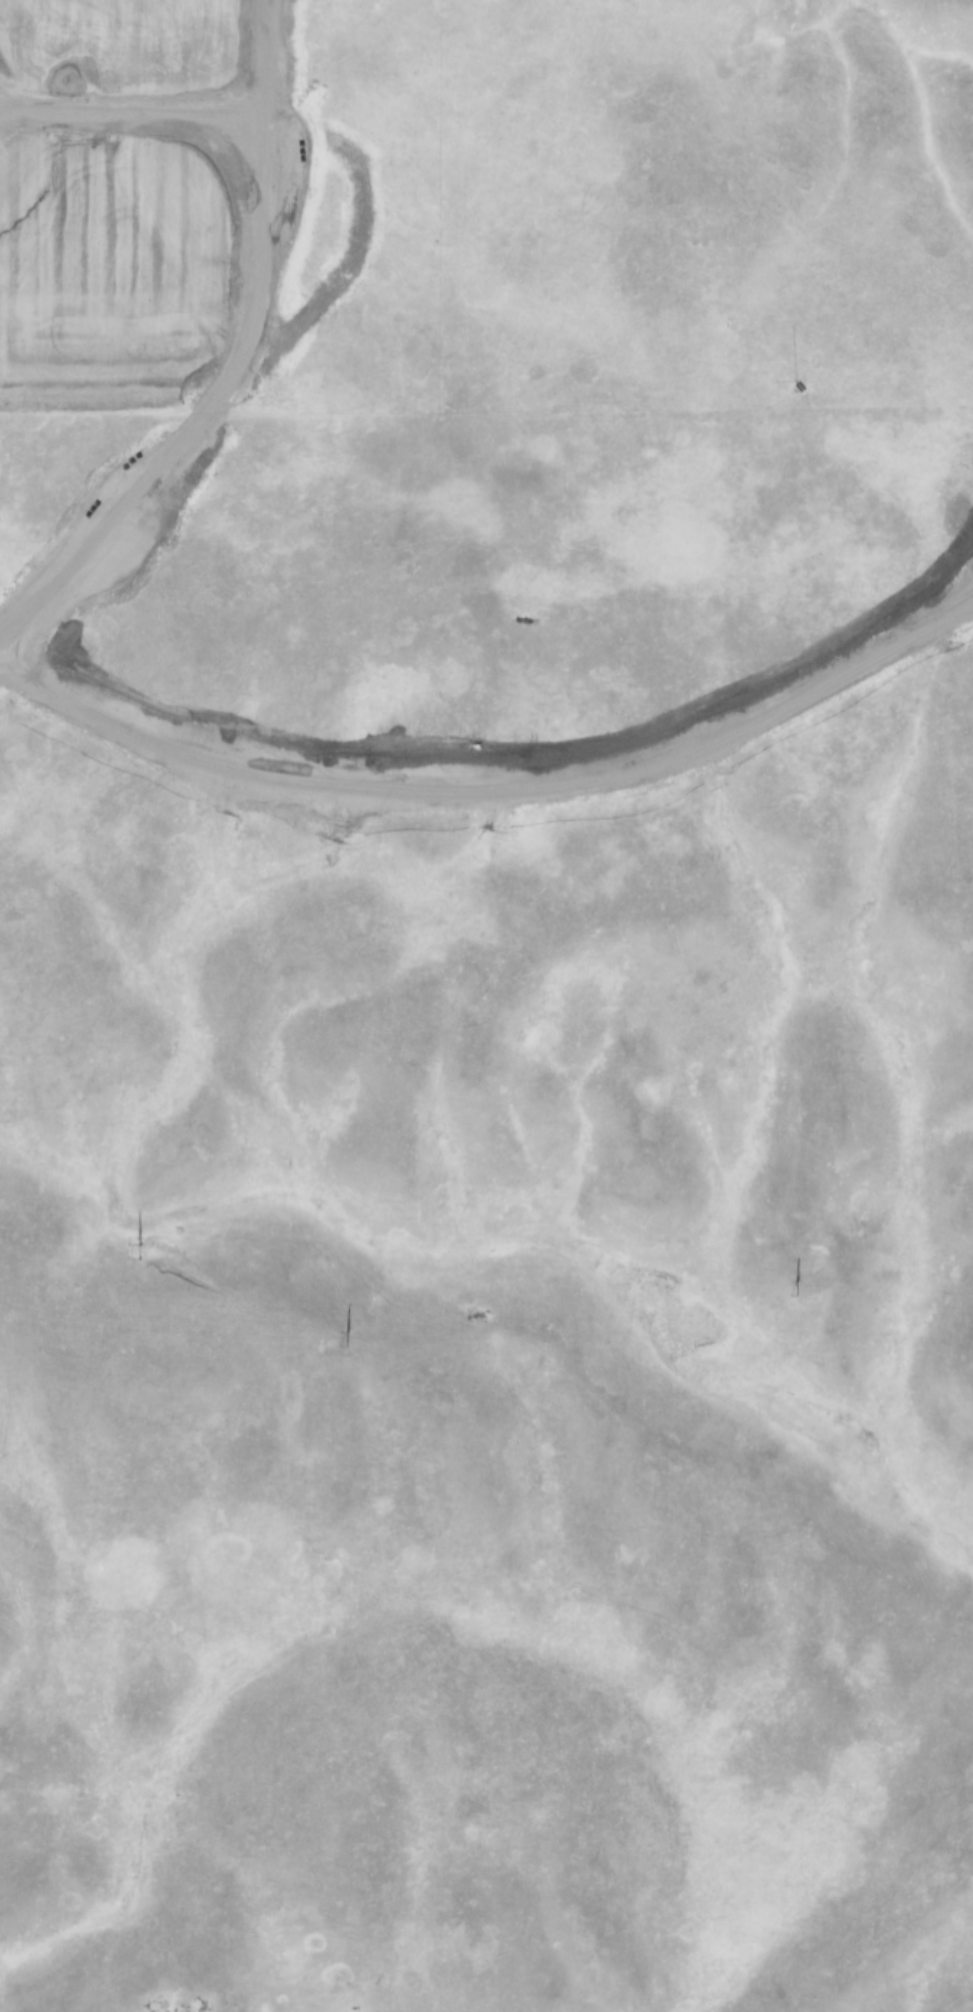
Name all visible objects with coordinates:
power tower: (351, 1339)

